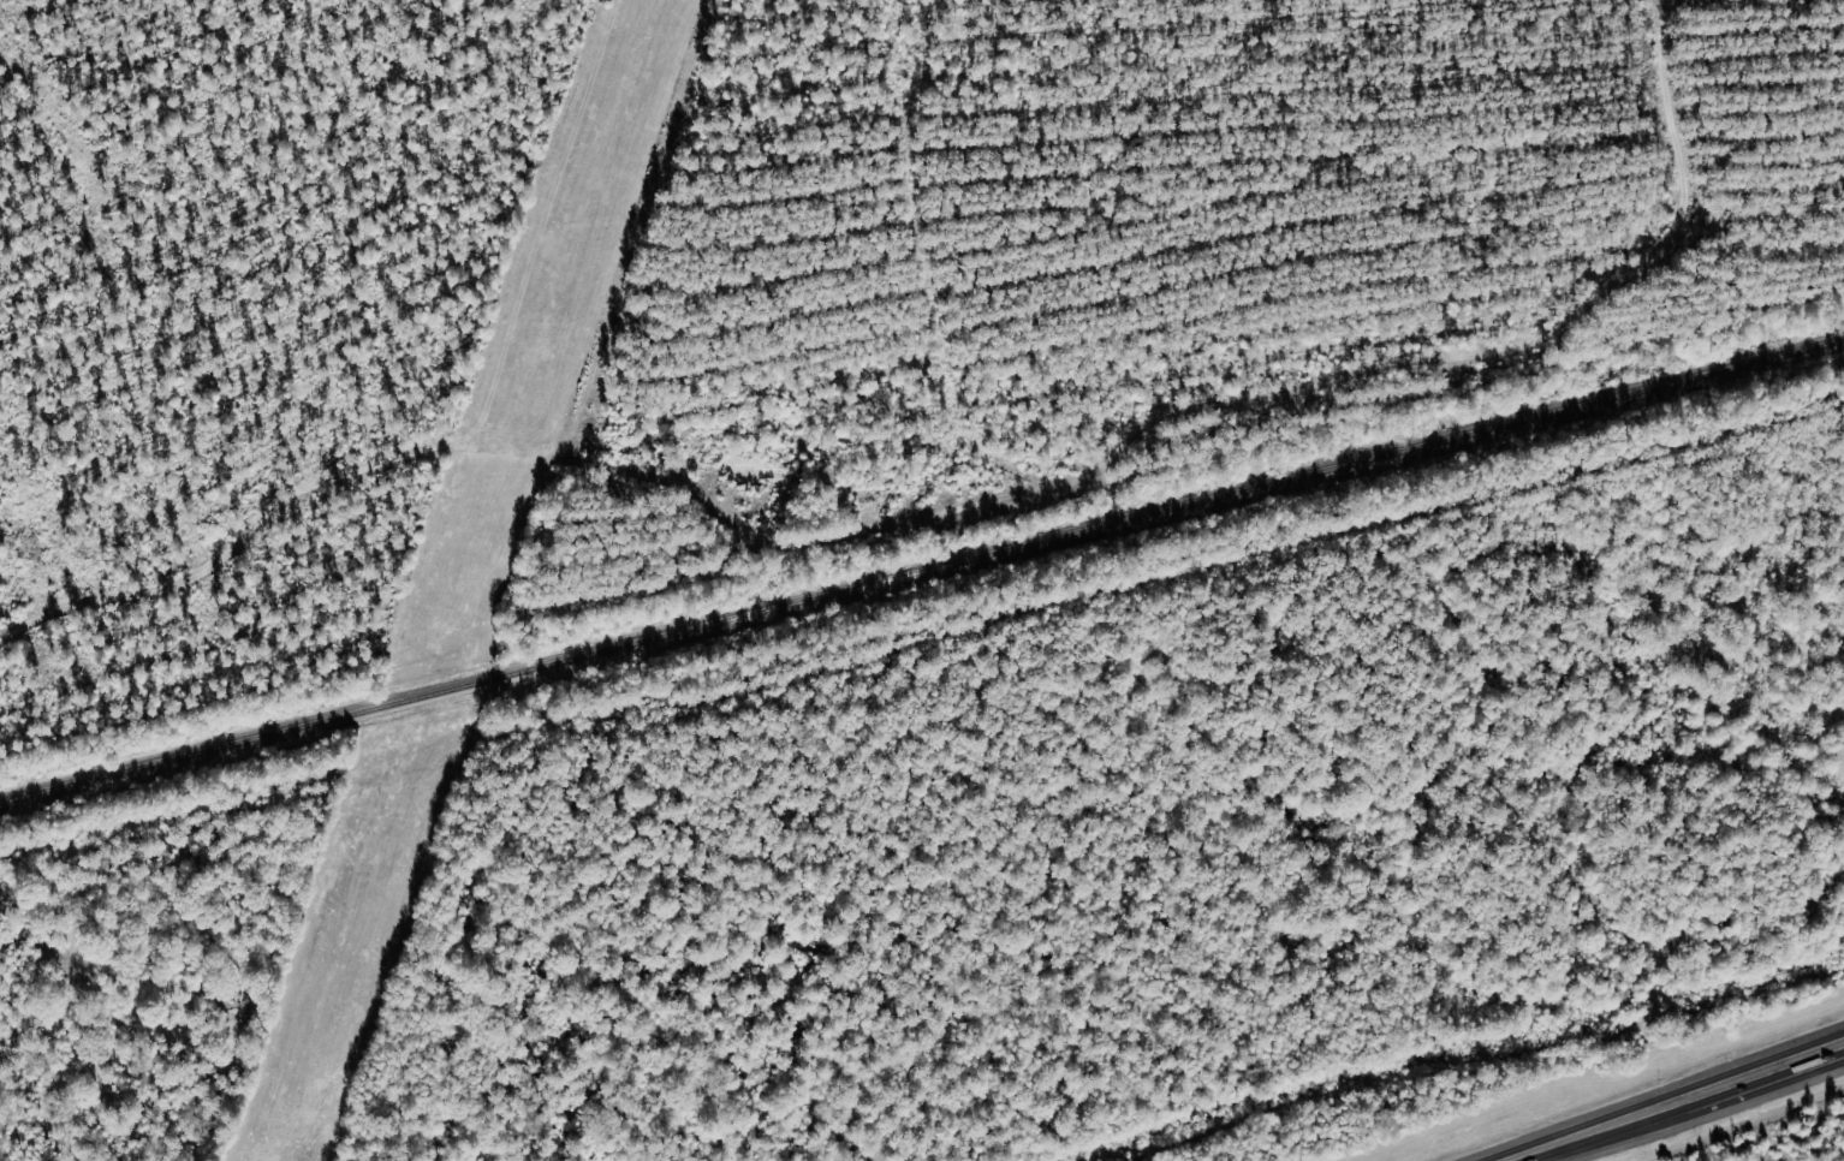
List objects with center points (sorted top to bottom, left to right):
railway: (922, 571)
road: (1766, 1071)
road: (1596, 1129)

